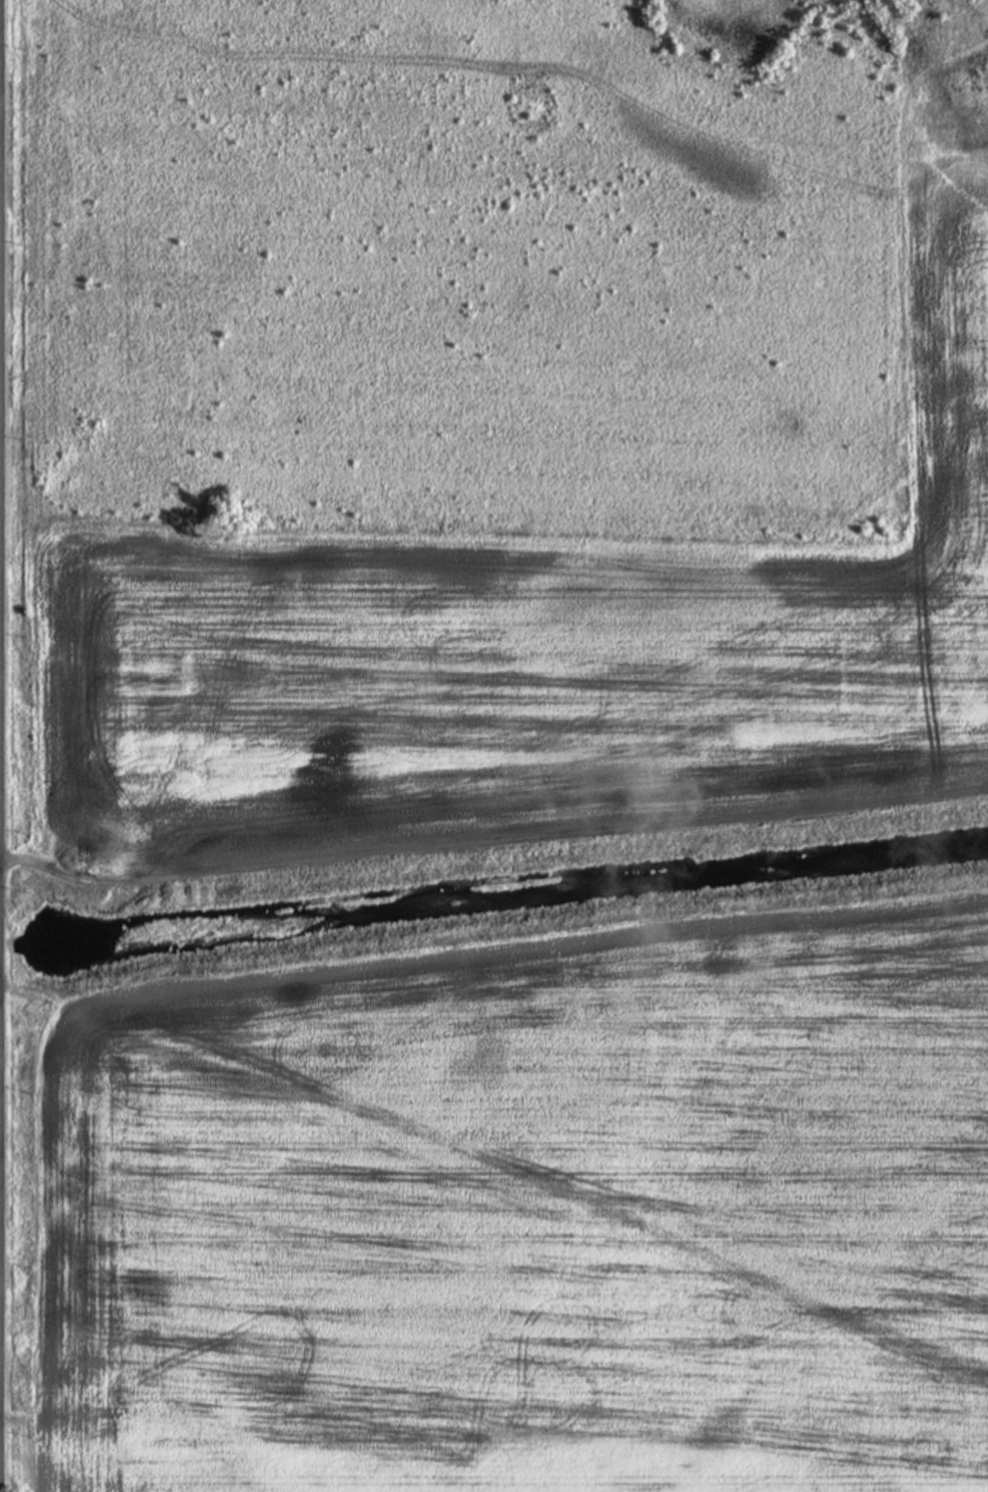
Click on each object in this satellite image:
road: (490, 858)
road: (0, 1437)

